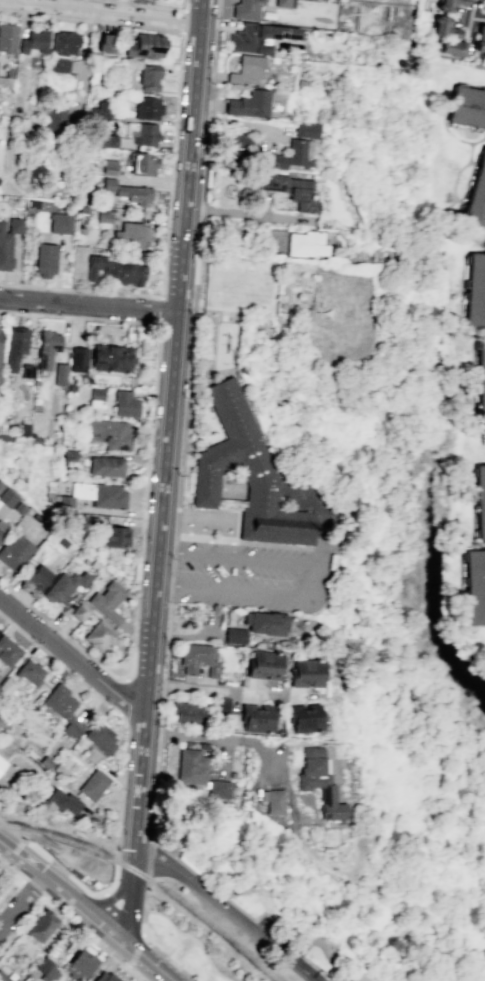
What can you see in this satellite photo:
building: (163, 0)
building: (284, 3)
road: (149, 5)
building: (450, 5)
building: (246, 9)
road: (115, 10)
road: (476, 18)
road: (183, 21)
building: (7, 37)
building: (259, 37)
building: (447, 38)
building: (480, 39)
building: (34, 42)
building: (64, 43)
building: (105, 43)
building: (146, 46)
road: (85, 57)
building: (58, 65)
building: (247, 70)
building: (148, 77)
building: (249, 104)
building: (467, 106)
building: (147, 108)
building: (99, 110)
building: (54, 120)
building: (306, 130)
building: (142, 133)
building: (106, 141)
building: (233, 143)
road: (172, 152)
building: (292, 154)
building: (143, 164)
building: (292, 190)
building: (127, 191)
building: (477, 196)
road: (244, 213)
building: (104, 215)
building: (59, 223)
building: (131, 235)
building: (8, 239)
building: (305, 243)
building: (45, 260)
building: (117, 271)
building: (477, 293)
road: (88, 303)
road: (159, 309)
road: (191, 315)
building: (14, 346)
building: (46, 348)
building: (112, 358)
building: (78, 359)
building: (26, 371)
building: (59, 374)
building: (482, 377)
building: (95, 397)
building: (124, 404)
road: (152, 407)
building: (110, 433)
road: (166, 443)
building: (105, 466)
building: (244, 473)
building: (94, 496)
building: (7, 498)
road: (228, 498)
building: (480, 500)
road: (325, 520)
building: (76, 522)
building: (2, 528)
building: (114, 536)
building: (14, 551)
building: (36, 576)
parking lot: (252, 576)
road: (320, 582)
building: (64, 586)
building: (475, 587)
building: (106, 601)
building: (79, 612)
building: (264, 623)
road: (166, 635)
road: (184, 635)
building: (234, 635)
building: (100, 636)
road: (73, 642)
building: (8, 651)
road: (71, 657)
building: (197, 659)
building: (263, 664)
building: (29, 672)
building: (306, 672)
road: (224, 691)
building: (220, 706)
building: (62, 709)
building: (185, 712)
building: (304, 717)
building: (255, 718)
road: (159, 721)
road: (125, 730)
building: (99, 737)
road: (216, 738)
building: (201, 745)
building: (1, 763)
building: (190, 766)
building: (318, 781)
building: (92, 785)
building: (218, 789)
building: (60, 801)
building: (273, 801)
road: (191, 802)
road: (178, 821)
railway: (68, 840)
road: (149, 843)
road: (67, 846)
road: (160, 847)
road: (21, 856)
road: (52, 862)
road: (9, 871)
road: (130, 875)
road: (148, 885)
road: (60, 887)
building: (233, 887)
road: (33, 888)
road: (9, 890)
road: (145, 897)
road: (21, 899)
road: (175, 904)
road: (65, 906)
road: (108, 907)
road: (224, 907)
road: (237, 909)
road: (125, 910)
road: (94, 915)
road: (124, 918)
road: (99, 921)
railway: (207, 922)
road: (143, 923)
building: (40, 925)
road: (174, 927)
road: (87, 934)
parking lot: (280, 935)
park: (200, 943)
road: (136, 947)
road: (156, 947)
road: (205, 953)
road: (141, 955)
road: (337, 958)
building: (78, 964)
road: (130, 965)
building: (44, 968)
road: (182, 970)
road: (135, 975)
road: (289, 976)
building: (105, 977)
wastewater plant: (320, 977)
building: (3, 978)
building: (14, 979)
road: (312, 980)

